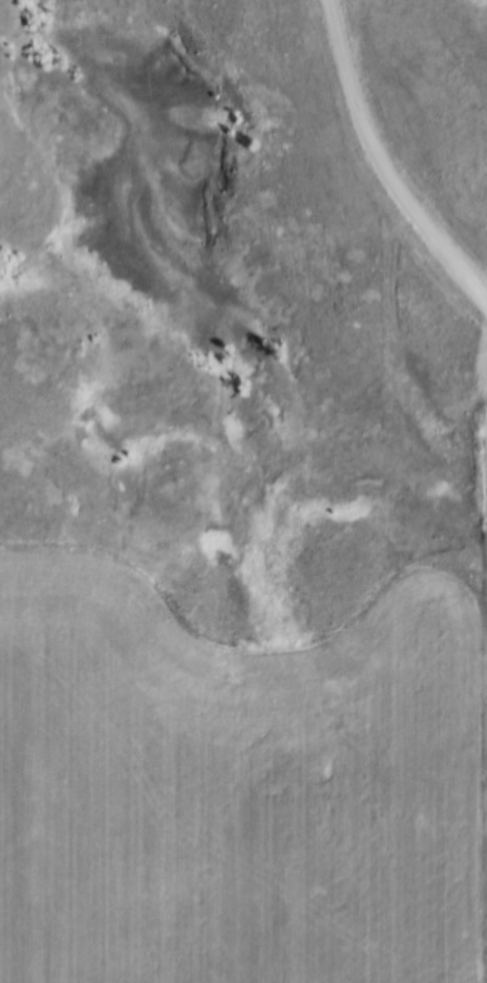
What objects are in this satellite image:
road: (414, 152)

